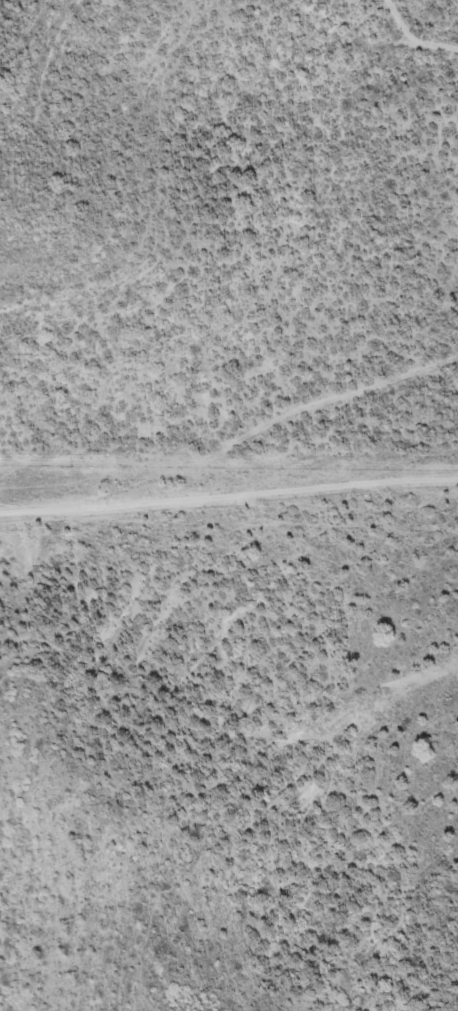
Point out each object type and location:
road: (229, 551)

